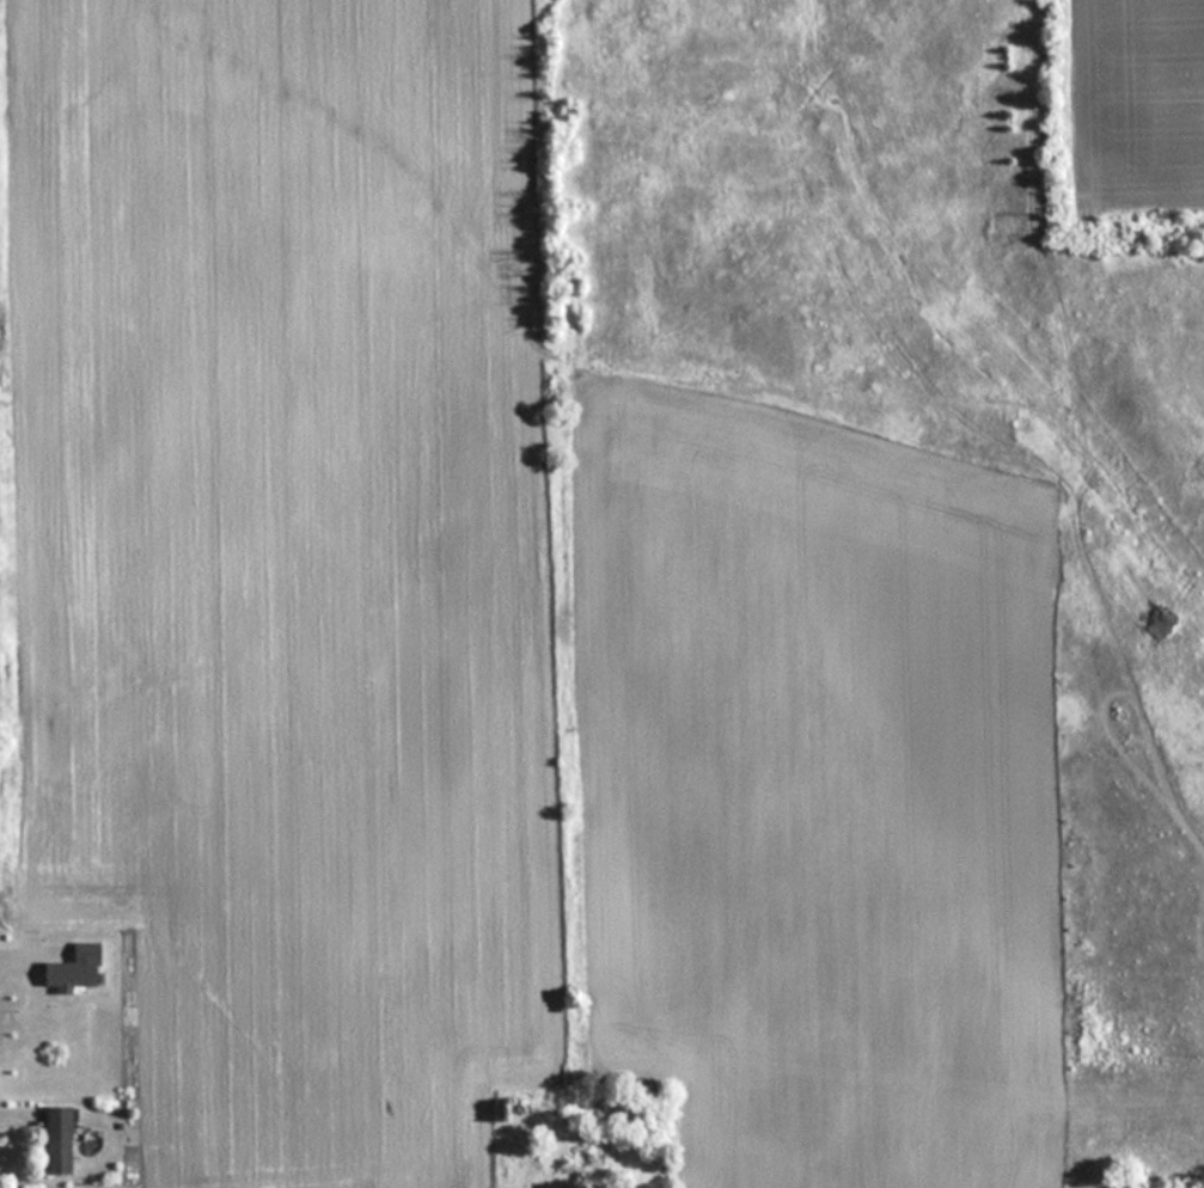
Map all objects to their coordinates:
building: (81, 967)
building: (62, 1139)

